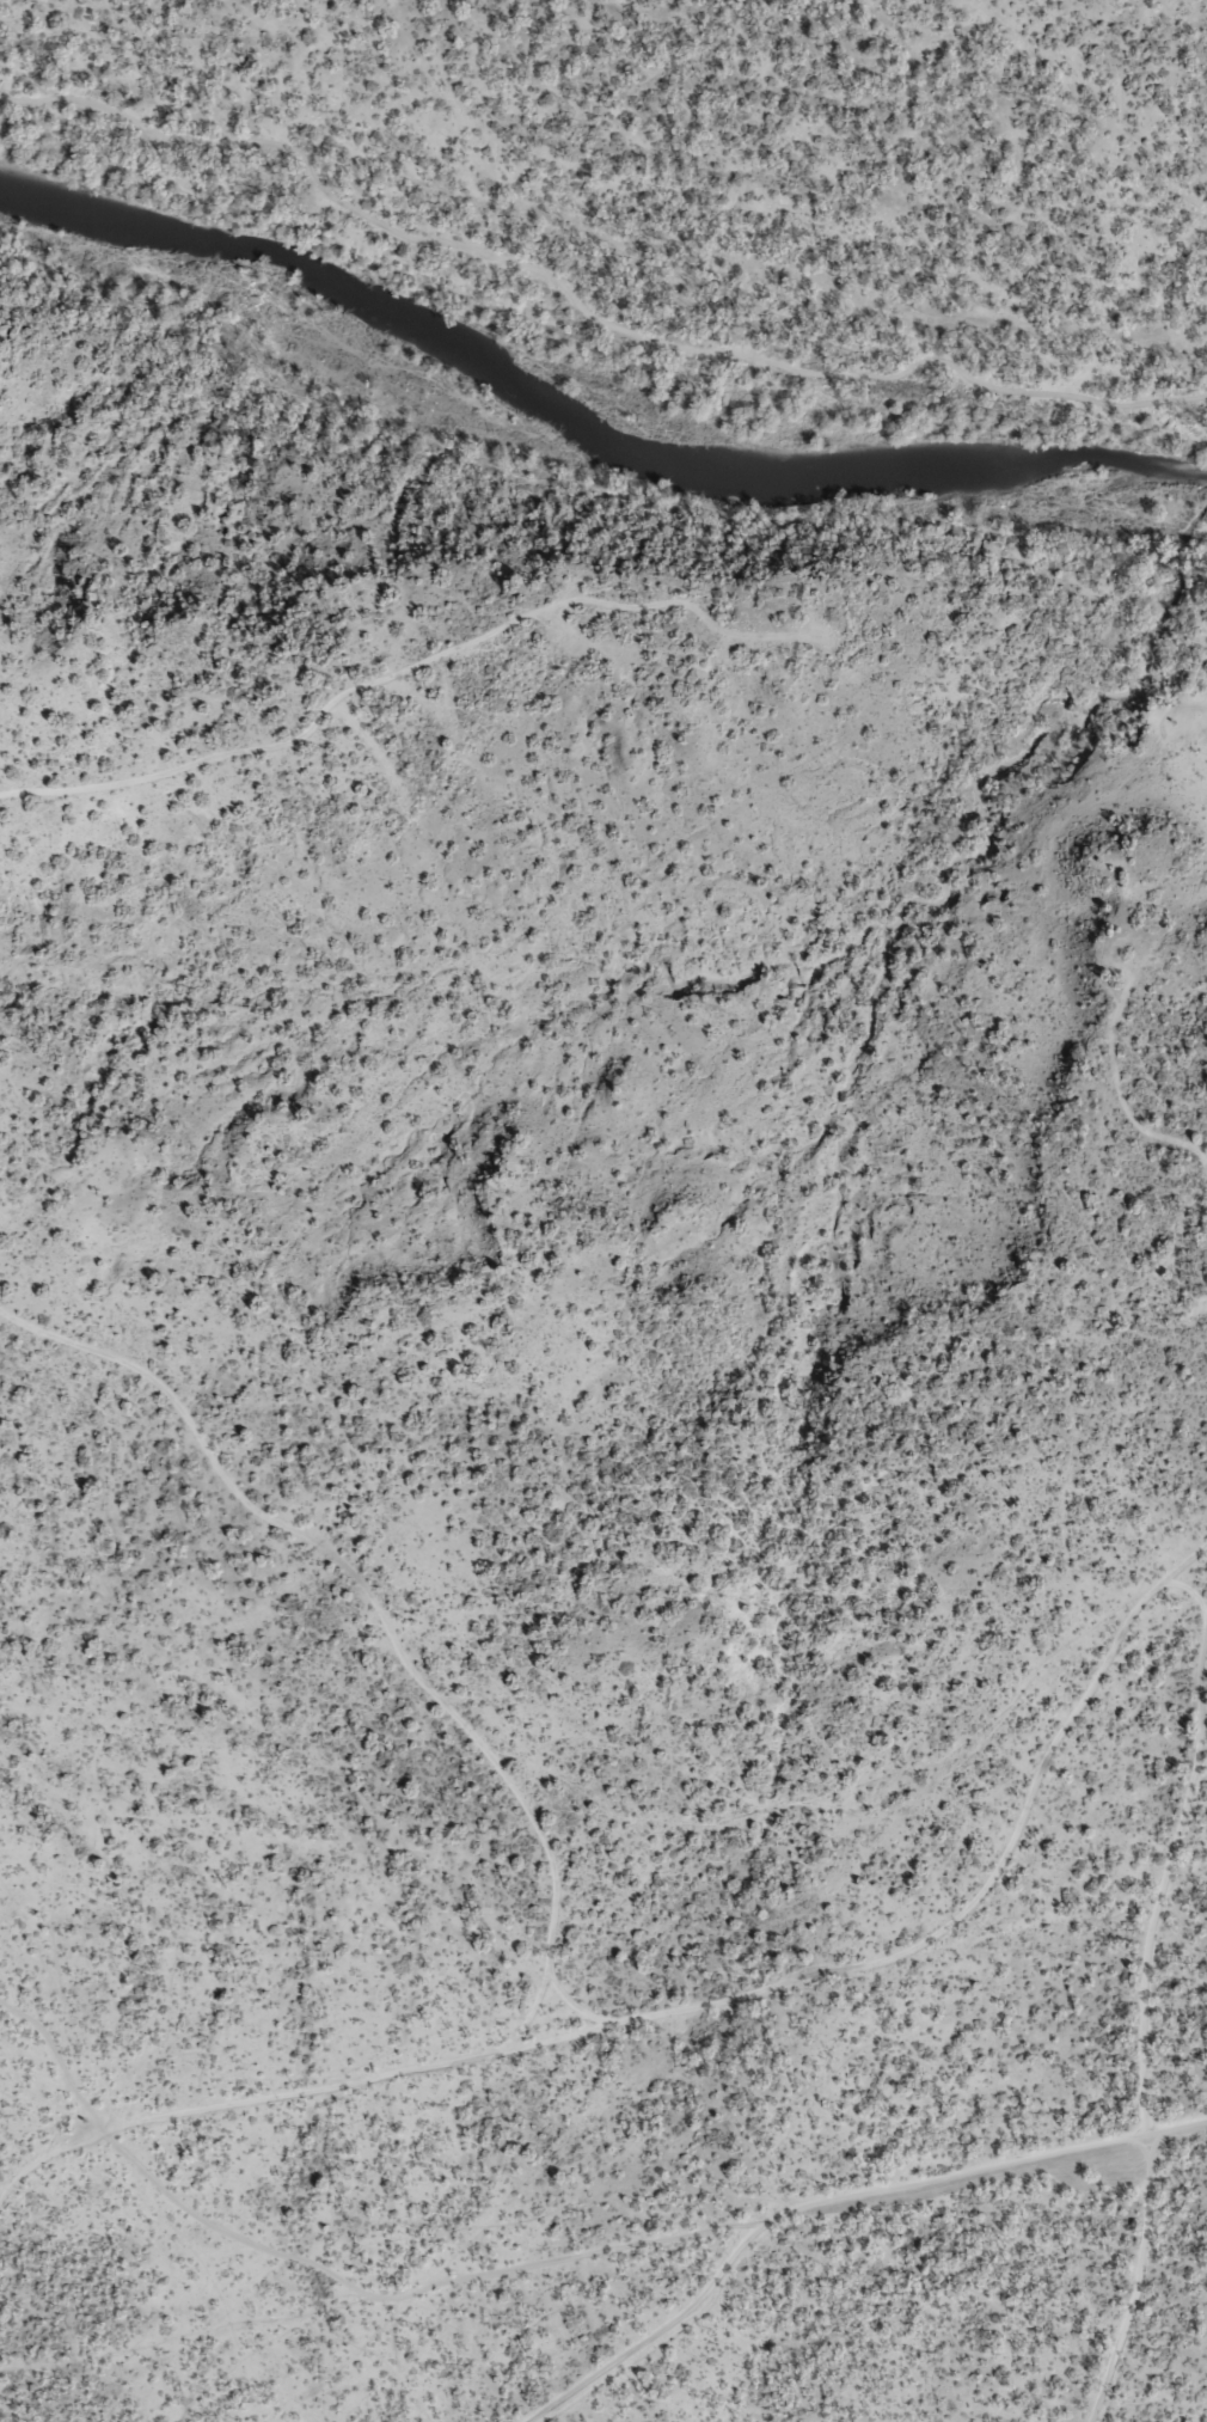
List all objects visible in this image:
road: (1115, 10)
river: (582, 432)
road: (608, 2065)
road: (1201, 2365)

